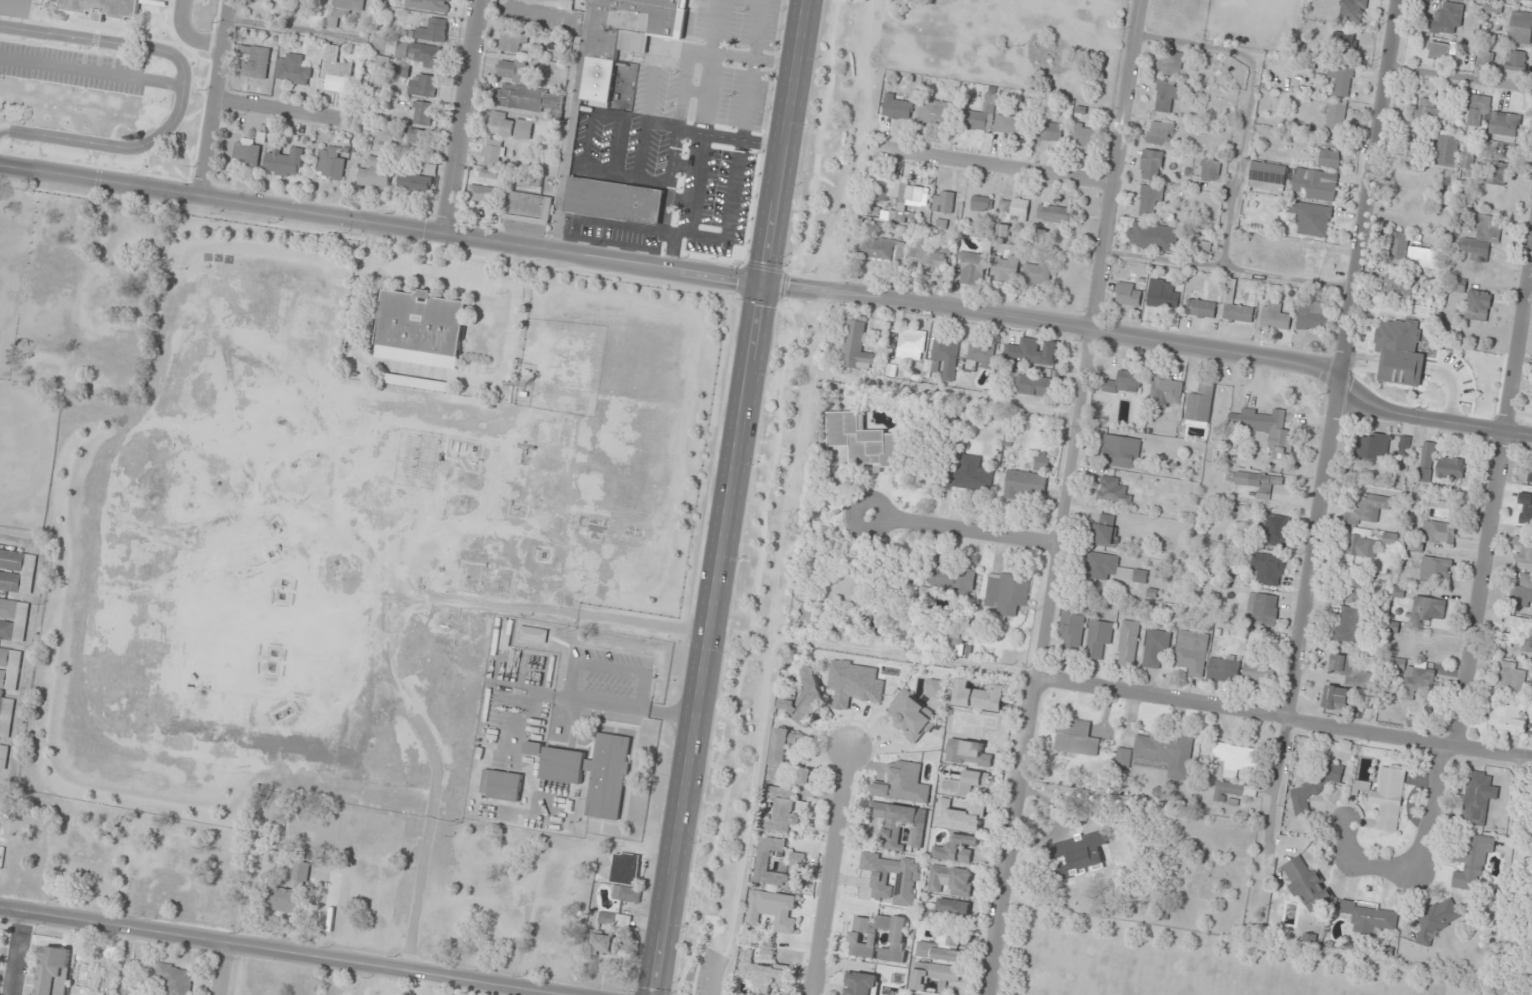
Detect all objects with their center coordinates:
building: (1526, 0)
building: (429, 5)
building: (13, 8)
building: (102, 8)
building: (343, 10)
building: (1352, 11)
building: (1447, 20)
building: (1520, 27)
building: (433, 31)
road: (187, 36)
building: (627, 37)
building: (512, 41)
building: (1344, 41)
building: (1440, 50)
building: (419, 54)
building: (1485, 59)
building: (256, 61)
building: (1516, 61)
building: (382, 62)
building: (1171, 63)
building: (293, 70)
building: (400, 70)
building: (512, 70)
building: (334, 71)
building: (1342, 82)
building: (424, 85)
road: (182, 90)
road: (217, 96)
building: (1166, 96)
building: (529, 99)
building: (895, 109)
road: (282, 111)
building: (1427, 111)
building: (935, 113)
building: (423, 114)
road: (468, 115)
building: (1336, 115)
building: (1492, 118)
building: (979, 120)
building: (1010, 125)
building: (510, 126)
building: (1049, 131)
building: (1161, 134)
building: (1084, 136)
building: (417, 137)
road: (819, 139)
building: (1446, 151)
building: (246, 153)
building: (493, 153)
building: (1329, 160)
building: (284, 162)
building: (330, 164)
building: (1151, 165)
road: (995, 168)
building: (1210, 171)
building: (374, 174)
building: (487, 174)
building: (1497, 174)
building: (1292, 182)
building: (414, 183)
building: (881, 191)
building: (482, 194)
building: (614, 200)
building: (909, 202)
building: (943, 202)
building: (1149, 202)
building: (980, 204)
building: (529, 208)
building: (1016, 210)
building: (1056, 214)
building: (1312, 220)
building: (1003, 231)
building: (1481, 236)
building: (1153, 237)
road: (547, 247)
building: (1204, 247)
building: (1399, 248)
building: (877, 249)
building: (928, 253)
building: (1422, 258)
building: (973, 265)
building: (1005, 267)
building: (1036, 273)
traffic signals: (765, 284)
road: (783, 285)
building: (1397, 288)
building: (1128, 294)
building: (1162, 295)
building: (1478, 305)
building: (1238, 308)
building: (1201, 309)
building: (1313, 317)
building: (1275, 318)
building: (421, 329)
building: (908, 346)
building: (857, 347)
road: (1518, 348)
road: (1220, 350)
building: (939, 354)
building: (980, 354)
building: (1124, 384)
building: (1032, 385)
building: (1166, 391)
building: (1449, 391)
building: (1200, 405)
road: (1432, 420)
building: (1267, 431)
building: (864, 441)
building: (1373, 446)
road: (1331, 449)
building: (1121, 452)
building: (1426, 462)
building: (1451, 468)
building: (968, 473)
building: (1027, 480)
building: (1254, 481)
building: (1113, 491)
road: (731, 497)
road: (1068, 497)
building: (1370, 508)
building: (1106, 530)
building: (1276, 531)
road: (966, 532)
building: (1439, 533)
building: (1389, 539)
building: (1362, 543)
building: (1415, 547)
building: (1523, 550)
building: (1113, 569)
building: (1267, 569)
building: (1436, 569)
building: (17, 571)
building: (951, 577)
building: (853, 582)
building: (1006, 592)
building: (1353, 592)
road: (1481, 592)
building: (1522, 593)
building: (1427, 608)
building: (1262, 609)
building: (807, 615)
building: (13, 620)
building: (1348, 625)
building: (1071, 631)
building: (1517, 633)
building: (533, 635)
building: (959, 637)
building: (1098, 640)
building: (1128, 643)
road: (749, 648)
building: (1156, 649)
building: (1191, 653)
building: (273, 656)
building: (9, 669)
building: (1224, 669)
building: (1348, 669)
building: (1259, 673)
building: (1510, 678)
building: (1418, 681)
building: (935, 688)
building: (978, 696)
building: (1335, 698)
building: (804, 699)
building: (5, 717)
building: (912, 717)
building: (1506, 720)
road: (1285, 721)
building: (1077, 739)
building: (533, 748)
building: (781, 753)
building: (1159, 755)
building: (3, 757)
building: (1236, 759)
building: (594, 773)
building: (805, 777)
building: (966, 783)
building: (903, 784)
building: (502, 785)
building: (1314, 787)
building: (1233, 790)
building: (1477, 797)
building: (1383, 799)
building: (786, 811)
building: (900, 824)
building: (1295, 842)
building: (957, 849)
building: (1086, 852)
road: (1420, 854)
building: (1472, 861)
building: (796, 862)
building: (626, 866)
road: (826, 870)
building: (906, 879)
building: (952, 880)
building: (1307, 884)
building: (291, 893)
building: (627, 894)
building: (954, 908)
building: (774, 910)
building: (1371, 917)
building: (1436, 918)
building: (615, 920)
building: (863, 939)
building: (603, 945)
building: (942, 949)
road: (278, 951)
road: (14, 954)
building: (767, 955)
building: (57, 957)
road: (223, 969)
building: (762, 974)
road: (713, 976)
building: (935, 976)
building: (91, 978)
building: (175, 979)
building: (861, 984)
building: (775, 994)

